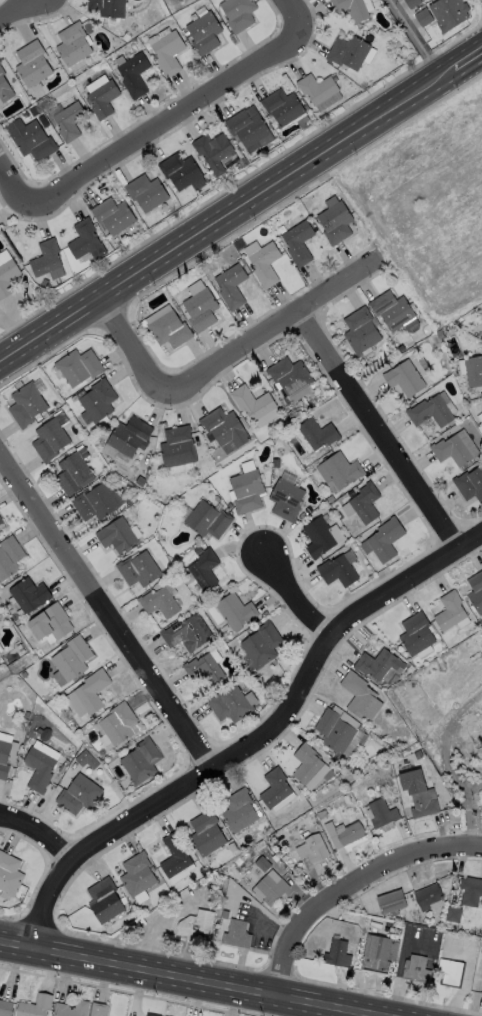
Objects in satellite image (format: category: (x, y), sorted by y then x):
building: (412, 3)
building: (109, 8)
building: (351, 9)
road: (15, 10)
building: (239, 14)
road: (292, 14)
building: (450, 14)
building: (424, 18)
building: (205, 34)
road: (415, 38)
building: (74, 45)
building: (168, 52)
building: (349, 53)
road: (468, 60)
building: (0, 63)
building: (33, 64)
building: (134, 75)
building: (5, 89)
building: (317, 89)
building: (104, 99)
building: (284, 107)
building: (70, 121)
building: (248, 128)
road: (144, 133)
building: (34, 142)
building: (214, 151)
building: (181, 171)
building: (147, 193)
building: (176, 204)
road: (226, 213)
building: (114, 216)
building: (336, 224)
building: (86, 241)
building: (299, 243)
building: (47, 258)
building: (265, 265)
building: (8, 278)
building: (45, 284)
building: (232, 287)
building: (202, 310)
building: (393, 311)
building: (170, 330)
road: (273, 330)
building: (361, 331)
building: (420, 335)
road: (139, 343)
building: (79, 367)
building: (474, 372)
building: (290, 376)
building: (405, 379)
building: (18, 385)
building: (98, 401)
building: (253, 404)
building: (27, 405)
building: (481, 411)
building: (430, 412)
road: (382, 425)
building: (225, 430)
building: (319, 434)
building: (131, 437)
building: (50, 441)
building: (178, 447)
building: (456, 449)
building: (209, 469)
building: (342, 470)
building: (73, 474)
building: (273, 480)
building: (470, 485)
building: (248, 492)
building: (217, 499)
building: (331, 499)
building: (287, 500)
building: (366, 503)
building: (95, 504)
building: (230, 505)
building: (208, 520)
building: (1, 521)
building: (117, 536)
building: (320, 538)
building: (386, 540)
building: (10, 558)
building: (140, 570)
building: (205, 570)
building: (338, 572)
road: (304, 589)
building: (476, 592)
building: (30, 595)
building: (177, 597)
building: (160, 603)
building: (450, 611)
building: (236, 612)
road: (106, 614)
building: (51, 623)
building: (417, 634)
building: (185, 635)
building: (262, 645)
building: (0, 651)
building: (22, 651)
building: (0, 653)
building: (73, 659)
building: (377, 664)
building: (204, 669)
building: (25, 675)
building: (93, 692)
building: (361, 697)
building: (230, 705)
road: (293, 709)
building: (27, 715)
building: (119, 724)
building: (354, 724)
building: (338, 732)
building: (370, 734)
road: (441, 738)
building: (6, 757)
building: (142, 761)
building: (307, 764)
building: (62, 768)
building: (40, 769)
building: (275, 788)
building: (418, 794)
building: (79, 795)
building: (349, 799)
building: (240, 811)
road: (468, 812)
building: (382, 814)
building: (322, 815)
building: (344, 830)
building: (207, 834)
road: (36, 835)
building: (232, 848)
building: (274, 848)
building: (316, 849)
building: (175, 856)
building: (263, 864)
building: (10, 874)
building: (138, 875)
building: (236, 880)
road: (352, 887)
building: (272, 890)
building: (471, 892)
building: (429, 896)
building: (105, 900)
road: (54, 902)
building: (391, 902)
building: (454, 915)
building: (197, 925)
building: (237, 935)
building: (377, 948)
building: (338, 954)
road: (399, 959)
building: (417, 970)
road: (466, 970)
building: (451, 973)
road: (192, 978)
building: (481, 990)
building: (34, 1005)
building: (4, 1007)
building: (71, 1009)
building: (97, 1009)
building: (151, 1014)

